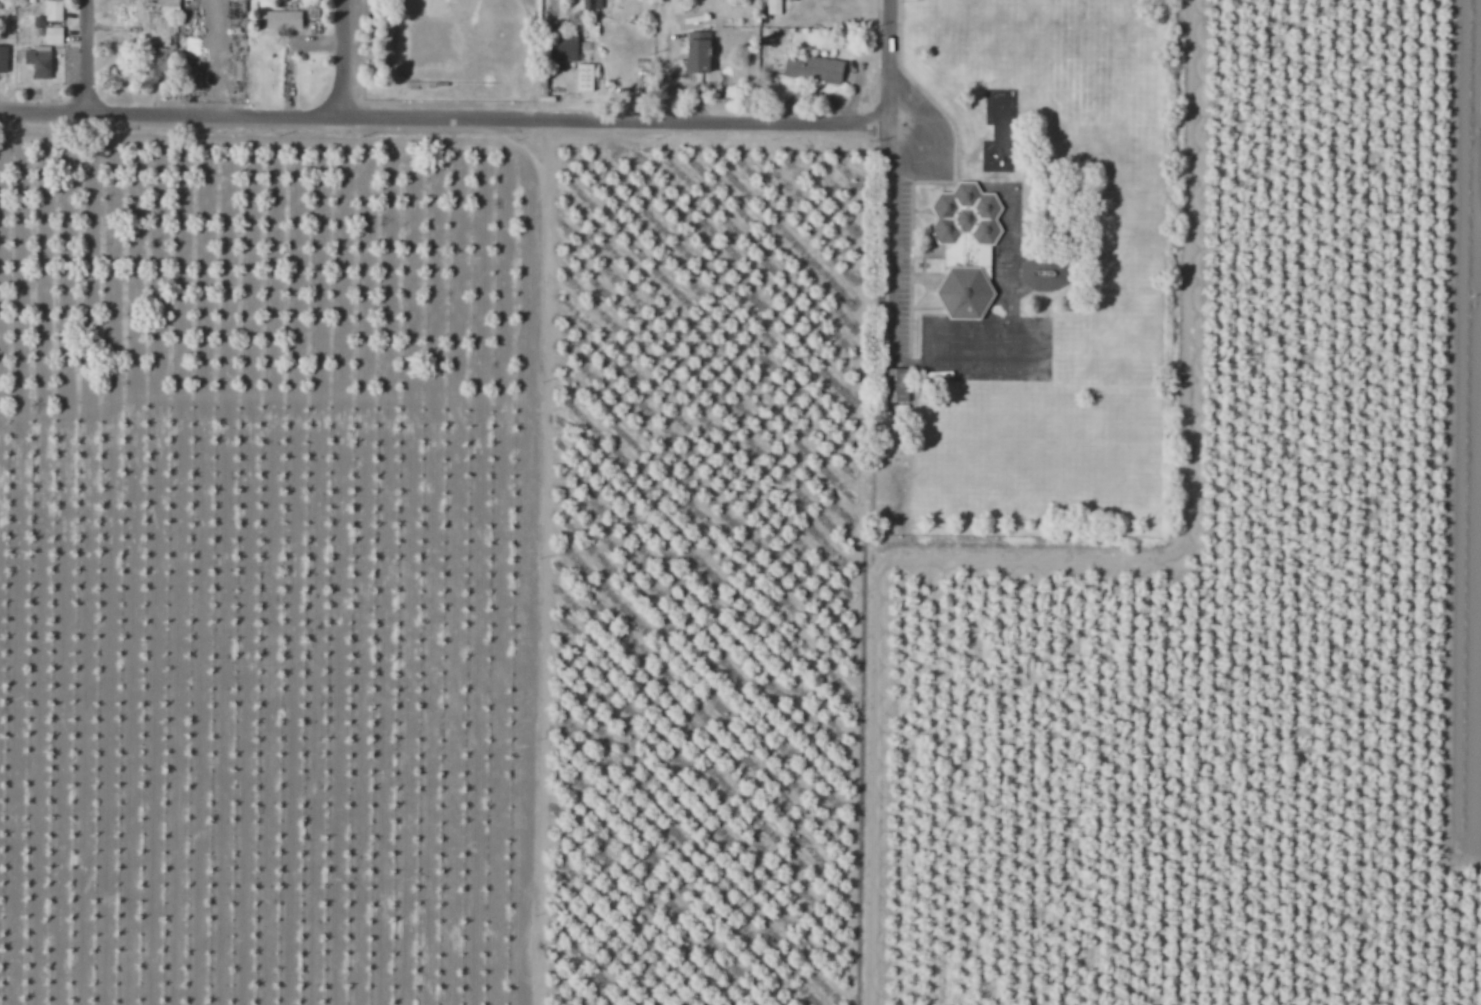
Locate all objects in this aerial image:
building: (591, 4)
building: (774, 6)
building: (168, 7)
building: (53, 10)
building: (282, 20)
building: (37, 25)
building: (52, 35)
building: (567, 39)
building: (565, 53)
building: (695, 55)
road: (90, 57)
building: (3, 58)
road: (345, 59)
building: (39, 61)
building: (155, 63)
building: (812, 68)
building: (583, 76)
road: (895, 76)
road: (446, 119)
building: (993, 154)
building: (965, 248)
road: (900, 252)
building: (1042, 275)
building: (894, 385)
building: (901, 410)

